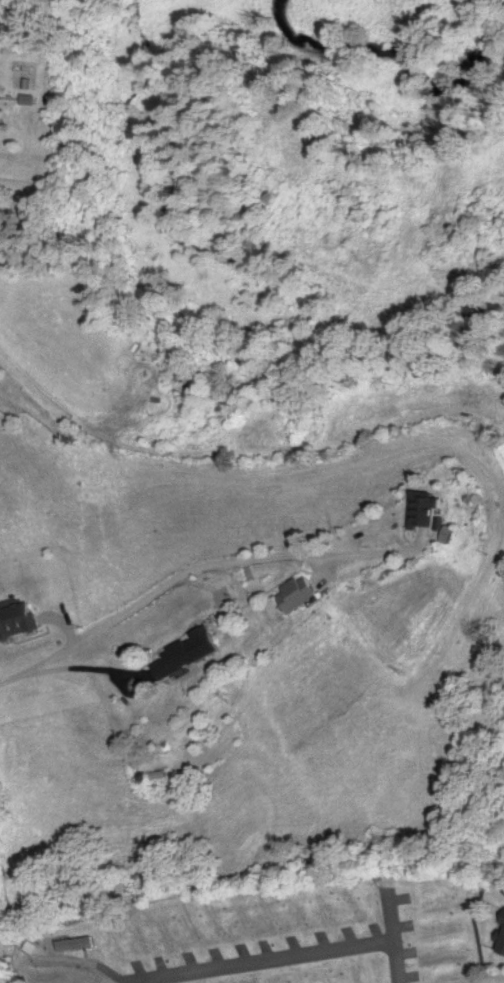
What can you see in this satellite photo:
building: (429, 512)
building: (302, 596)
road: (147, 599)
building: (17, 622)
building: (190, 655)
building: (438, 904)
building: (502, 936)
road: (393, 939)
building: (76, 944)
building: (28, 947)
road: (259, 961)
building: (359, 974)
road: (148, 981)

